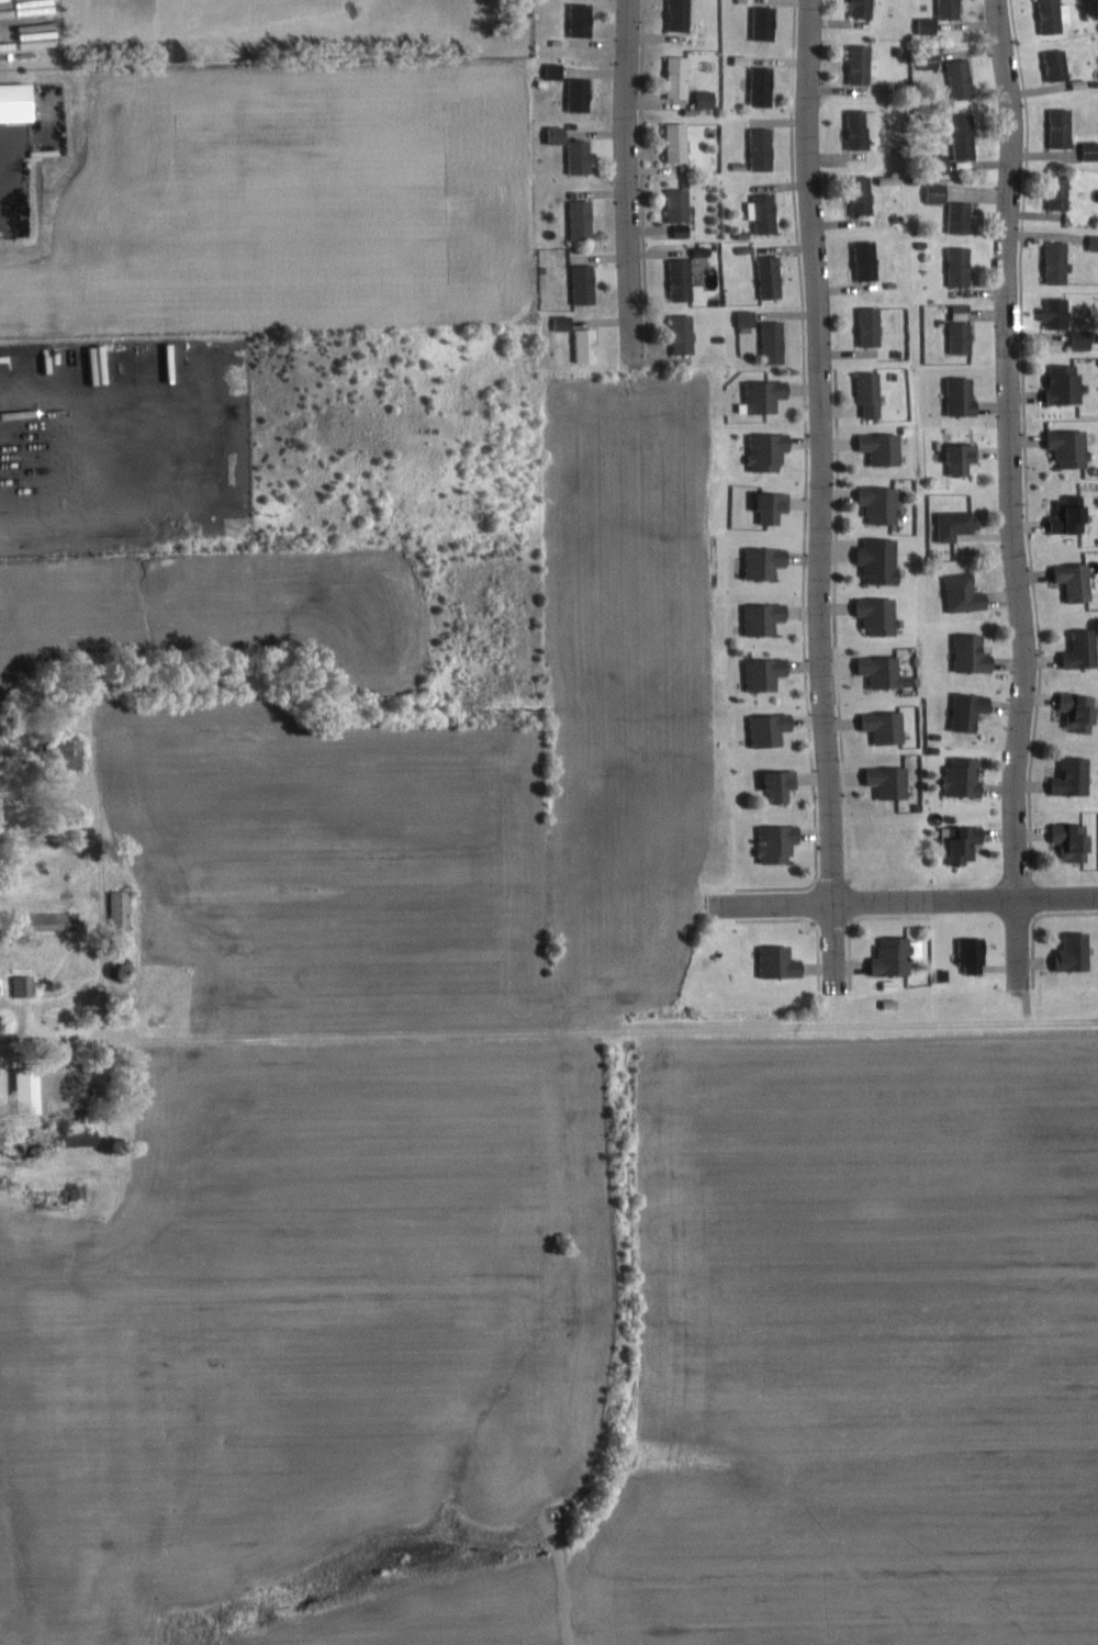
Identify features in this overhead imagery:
building: (865, 9)
building: (952, 9)
building: (683, 15)
building: (1057, 15)
building: (584, 20)
building: (768, 23)
building: (930, 25)
building: (865, 64)
building: (1060, 65)
building: (557, 70)
building: (681, 77)
building: (964, 79)
building: (765, 87)
building: (582, 94)
building: (707, 99)
building: (19, 102)
building: (866, 128)
building: (1064, 128)
building: (560, 135)
building: (966, 136)
building: (680, 142)
building: (764, 149)
building: (1091, 150)
building: (583, 157)
building: (945, 164)
road: (629, 179)
building: (940, 192)
building: (1062, 194)
building: (865, 195)
building: (681, 204)
building: (766, 212)
building: (963, 217)
building: (584, 220)
building: (684, 230)
building: (1095, 243)
building: (870, 260)
building: (1060, 262)
building: (962, 267)
building: (773, 277)
building: (683, 279)
building: (586, 284)
building: (1058, 313)
building: (750, 317)
building: (567, 322)
building: (872, 326)
building: (685, 333)
building: (964, 336)
building: (1085, 339)
building: (776, 342)
building: (589, 344)
building: (1067, 382)
building: (873, 393)
building: (769, 394)
building: (965, 395)
building: (885, 447)
building: (1073, 447)
building: (771, 450)
road: (1013, 451)
building: (963, 457)
road: (821, 494)
building: (884, 503)
building: (776, 505)
building: (1072, 515)
building: (960, 524)
building: (883, 559)
building: (768, 561)
building: (1078, 580)
building: (967, 593)
building: (882, 614)
building: (768, 617)
building: (1084, 649)
building: (975, 652)
building: (885, 670)
building: (769, 672)
building: (972, 710)
building: (1082, 710)
building: (888, 726)
building: (772, 728)
building: (75, 752)
building: (967, 775)
building: (1076, 775)
building: (893, 781)
building: (784, 784)
building: (1076, 840)
building: (780, 842)
building: (967, 842)
road: (907, 904)
building: (123, 911)
road: (1019, 947)
building: (1077, 952)
building: (900, 954)
building: (975, 954)
building: (782, 961)
building: (130, 970)
building: (25, 985)
building: (0, 989)
road: (15, 1038)
building: (31, 1089)
building: (77, 1138)

